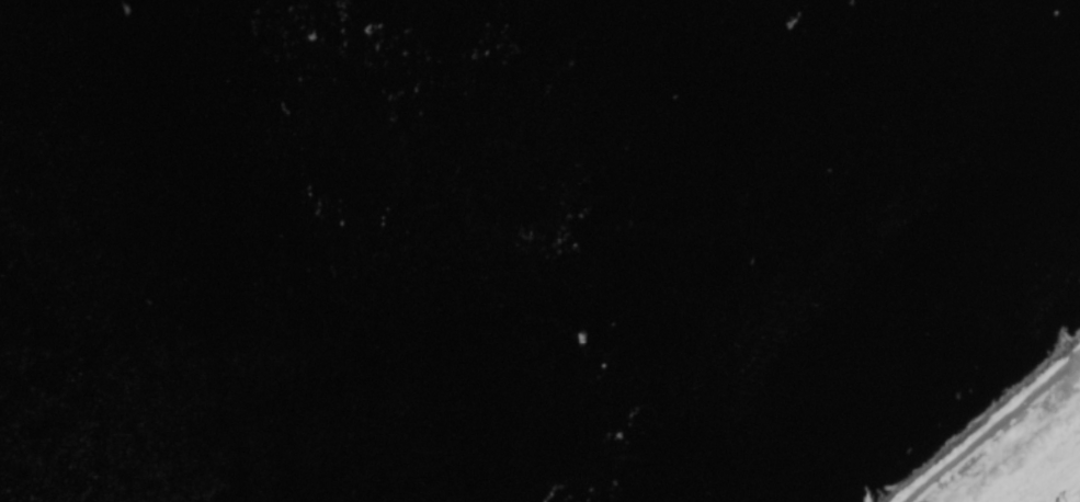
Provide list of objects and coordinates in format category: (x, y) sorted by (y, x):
river: (197, 252)
road: (992, 427)

